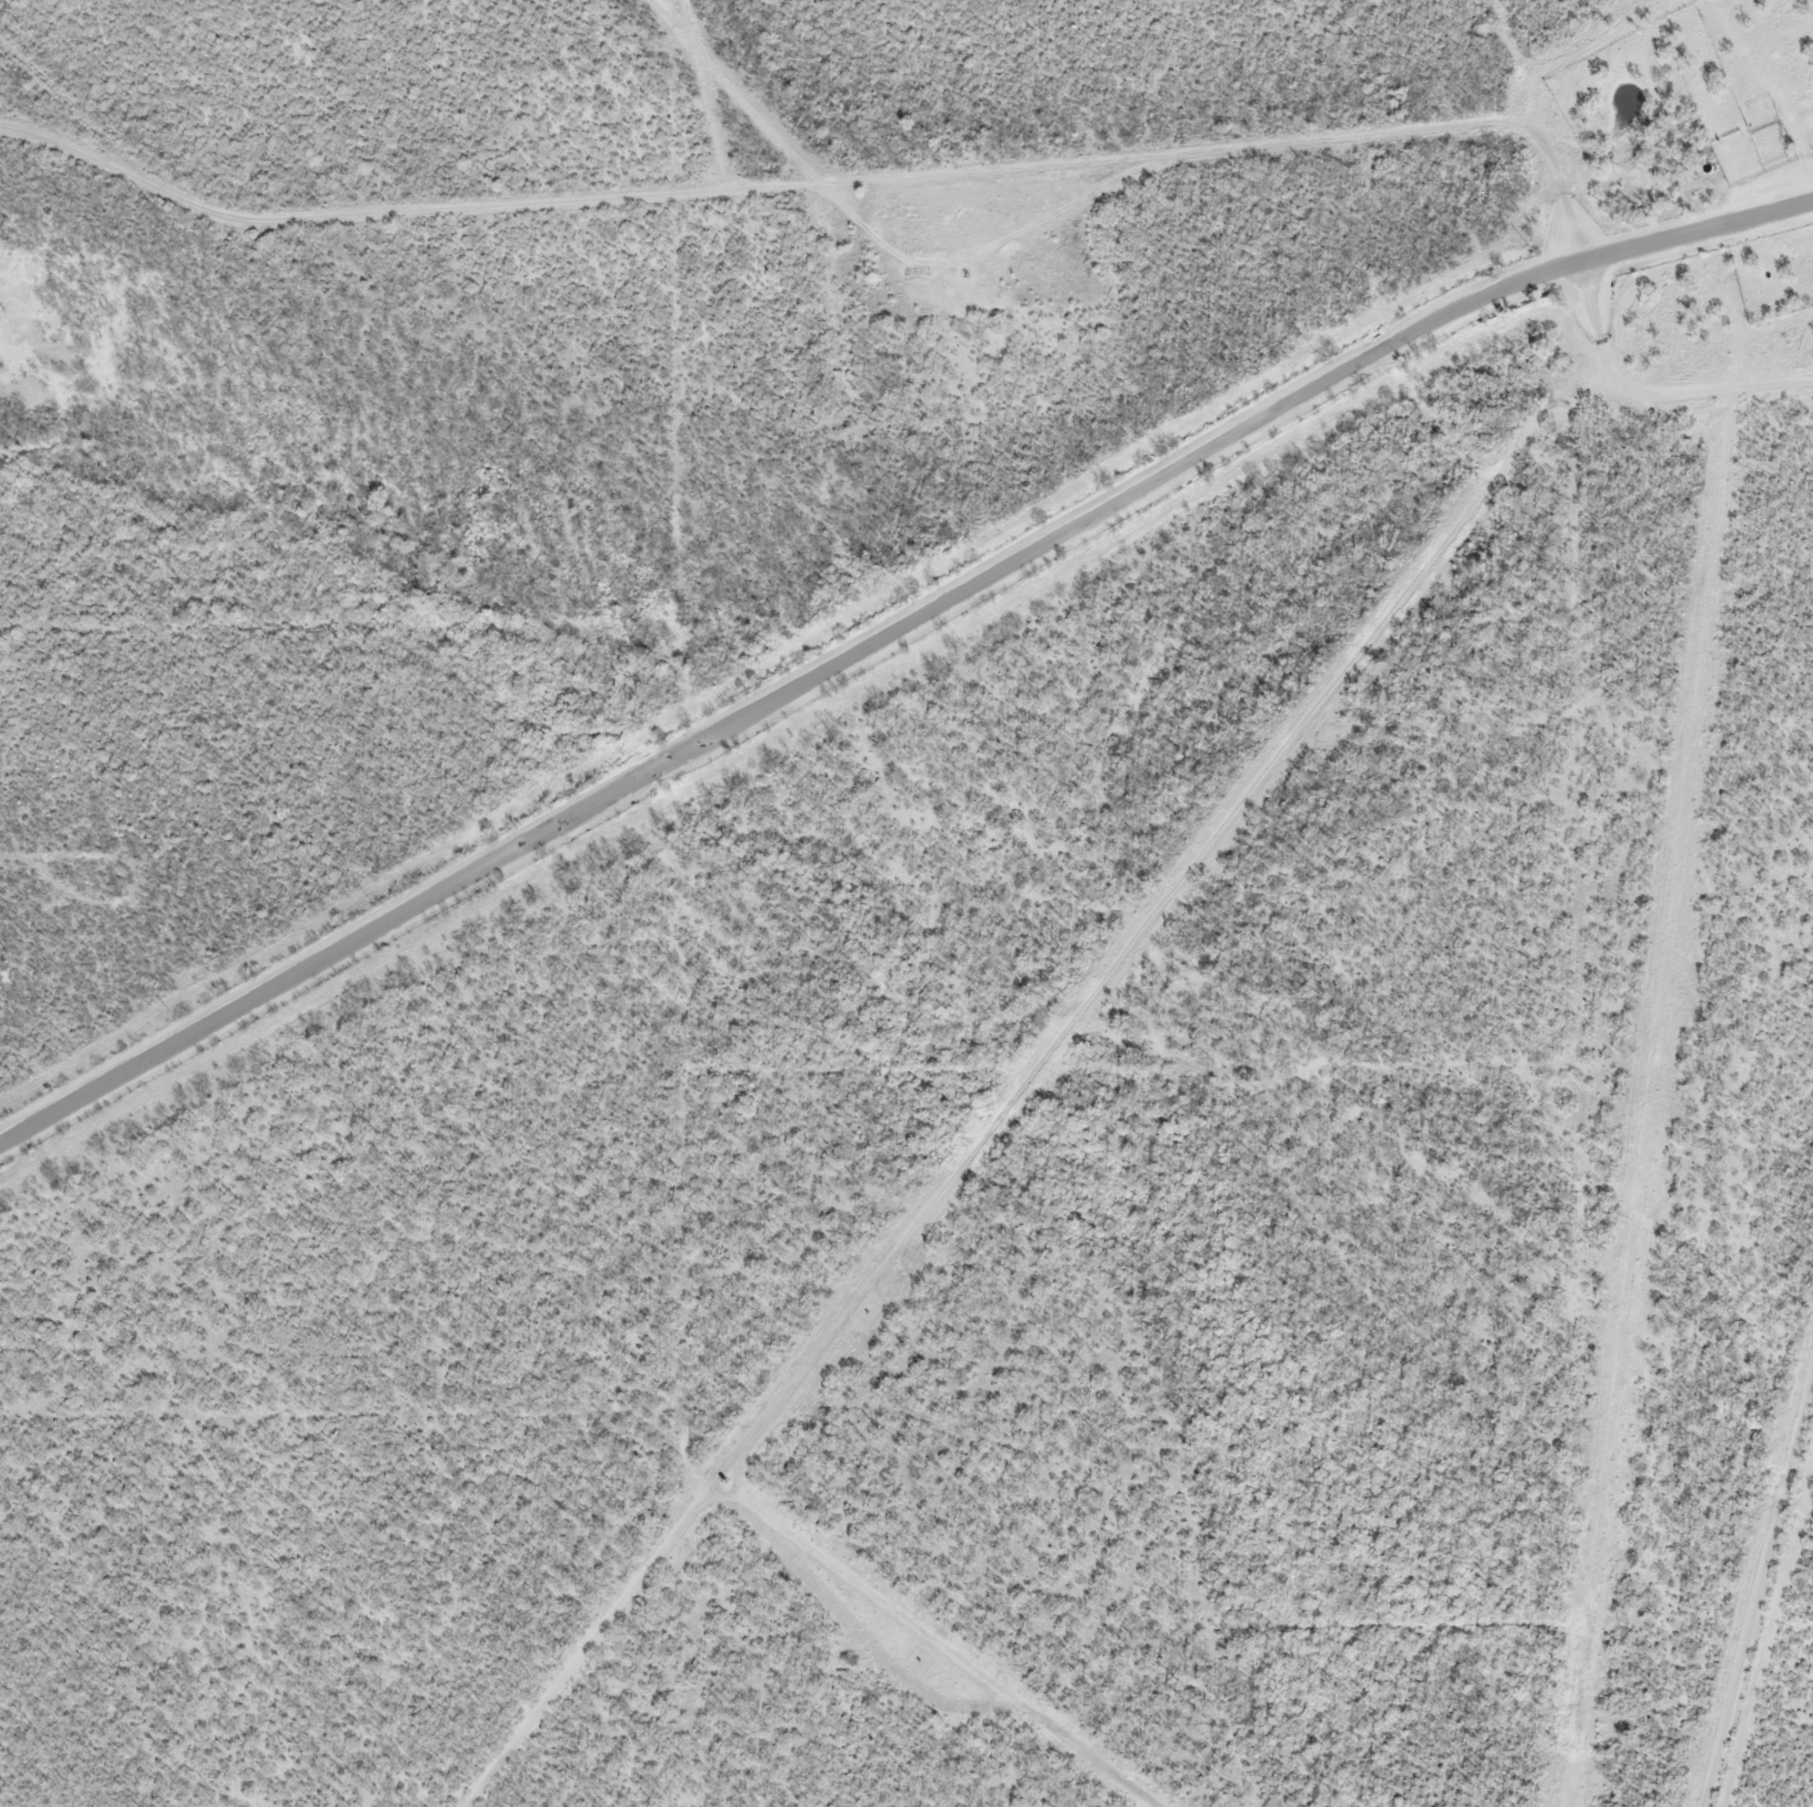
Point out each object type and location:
road: (890, 642)

